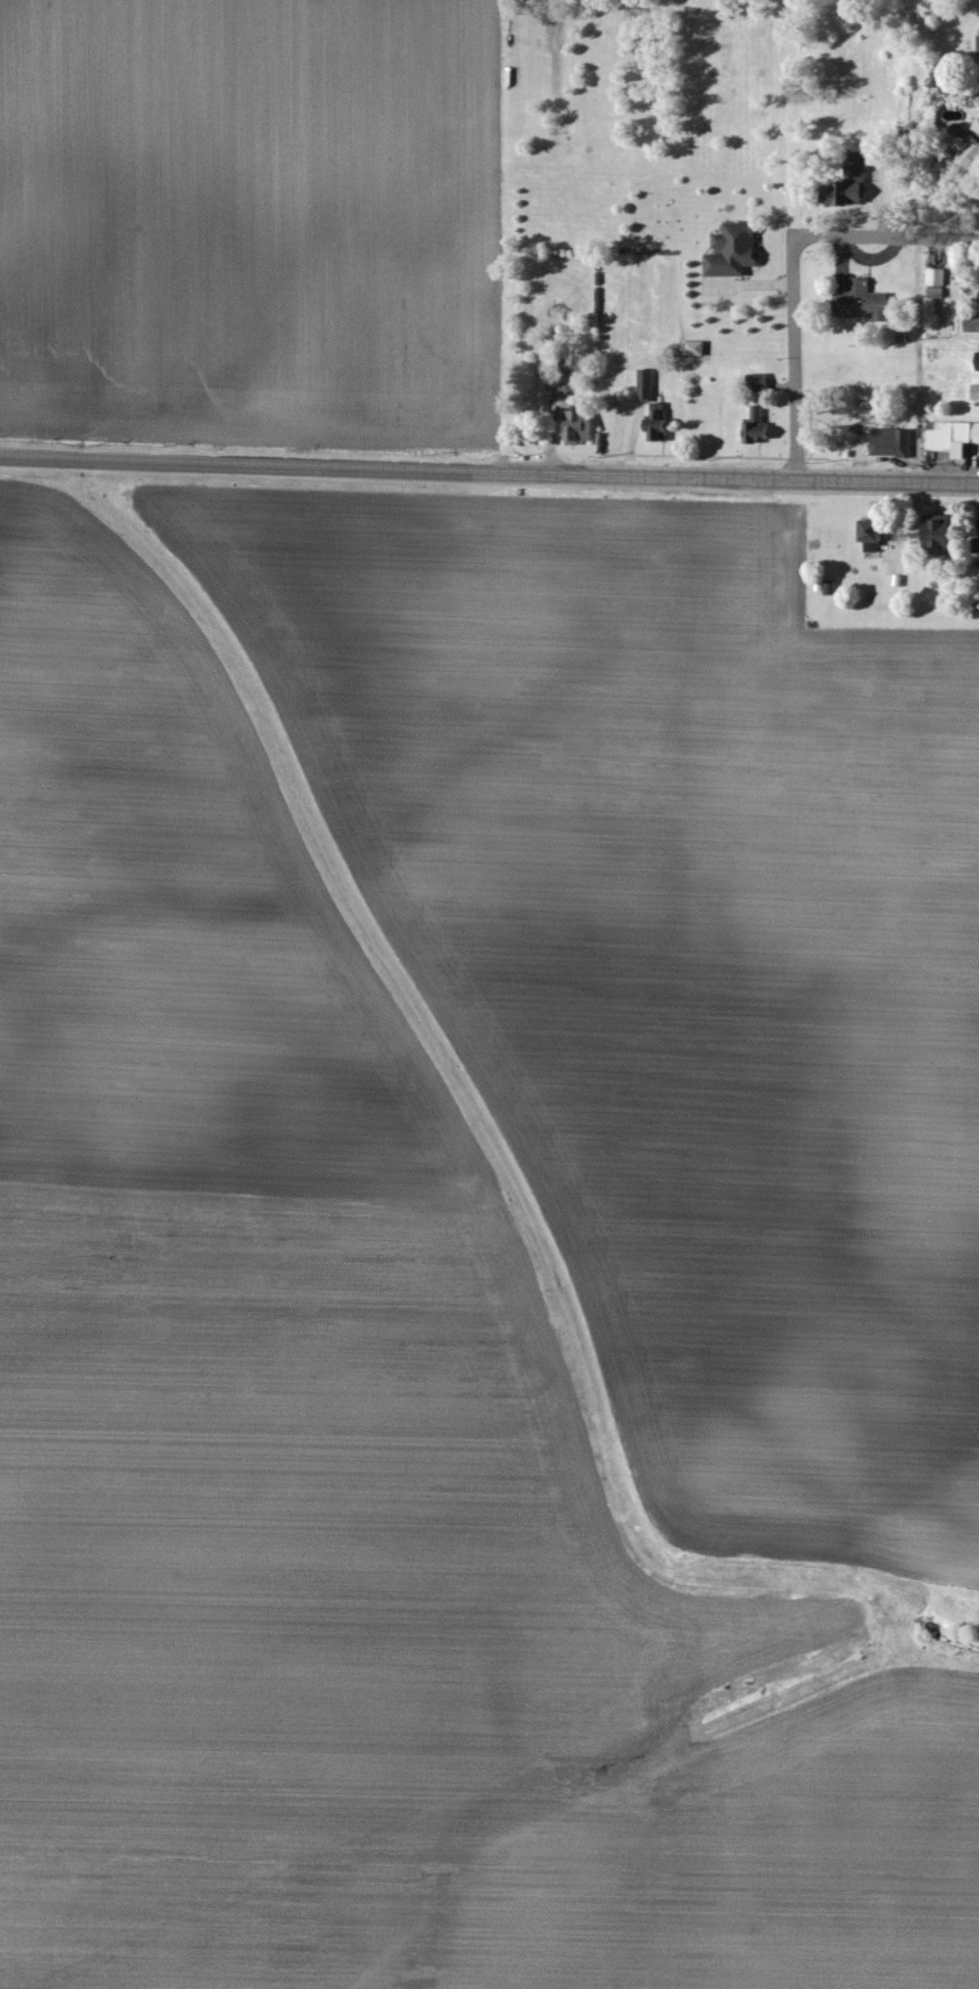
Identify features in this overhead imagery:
building: (978, 40)
building: (977, 129)
building: (969, 156)
building: (853, 183)
road: (886, 238)
building: (736, 251)
building: (938, 284)
building: (865, 302)
road: (794, 360)
building: (573, 374)
building: (760, 382)
building: (648, 386)
building: (976, 392)
building: (660, 423)
building: (581, 427)
building: (759, 427)
building: (955, 438)
building: (894, 443)
road: (489, 474)
building: (943, 532)
building: (876, 535)
building: (976, 547)
building: (832, 588)

